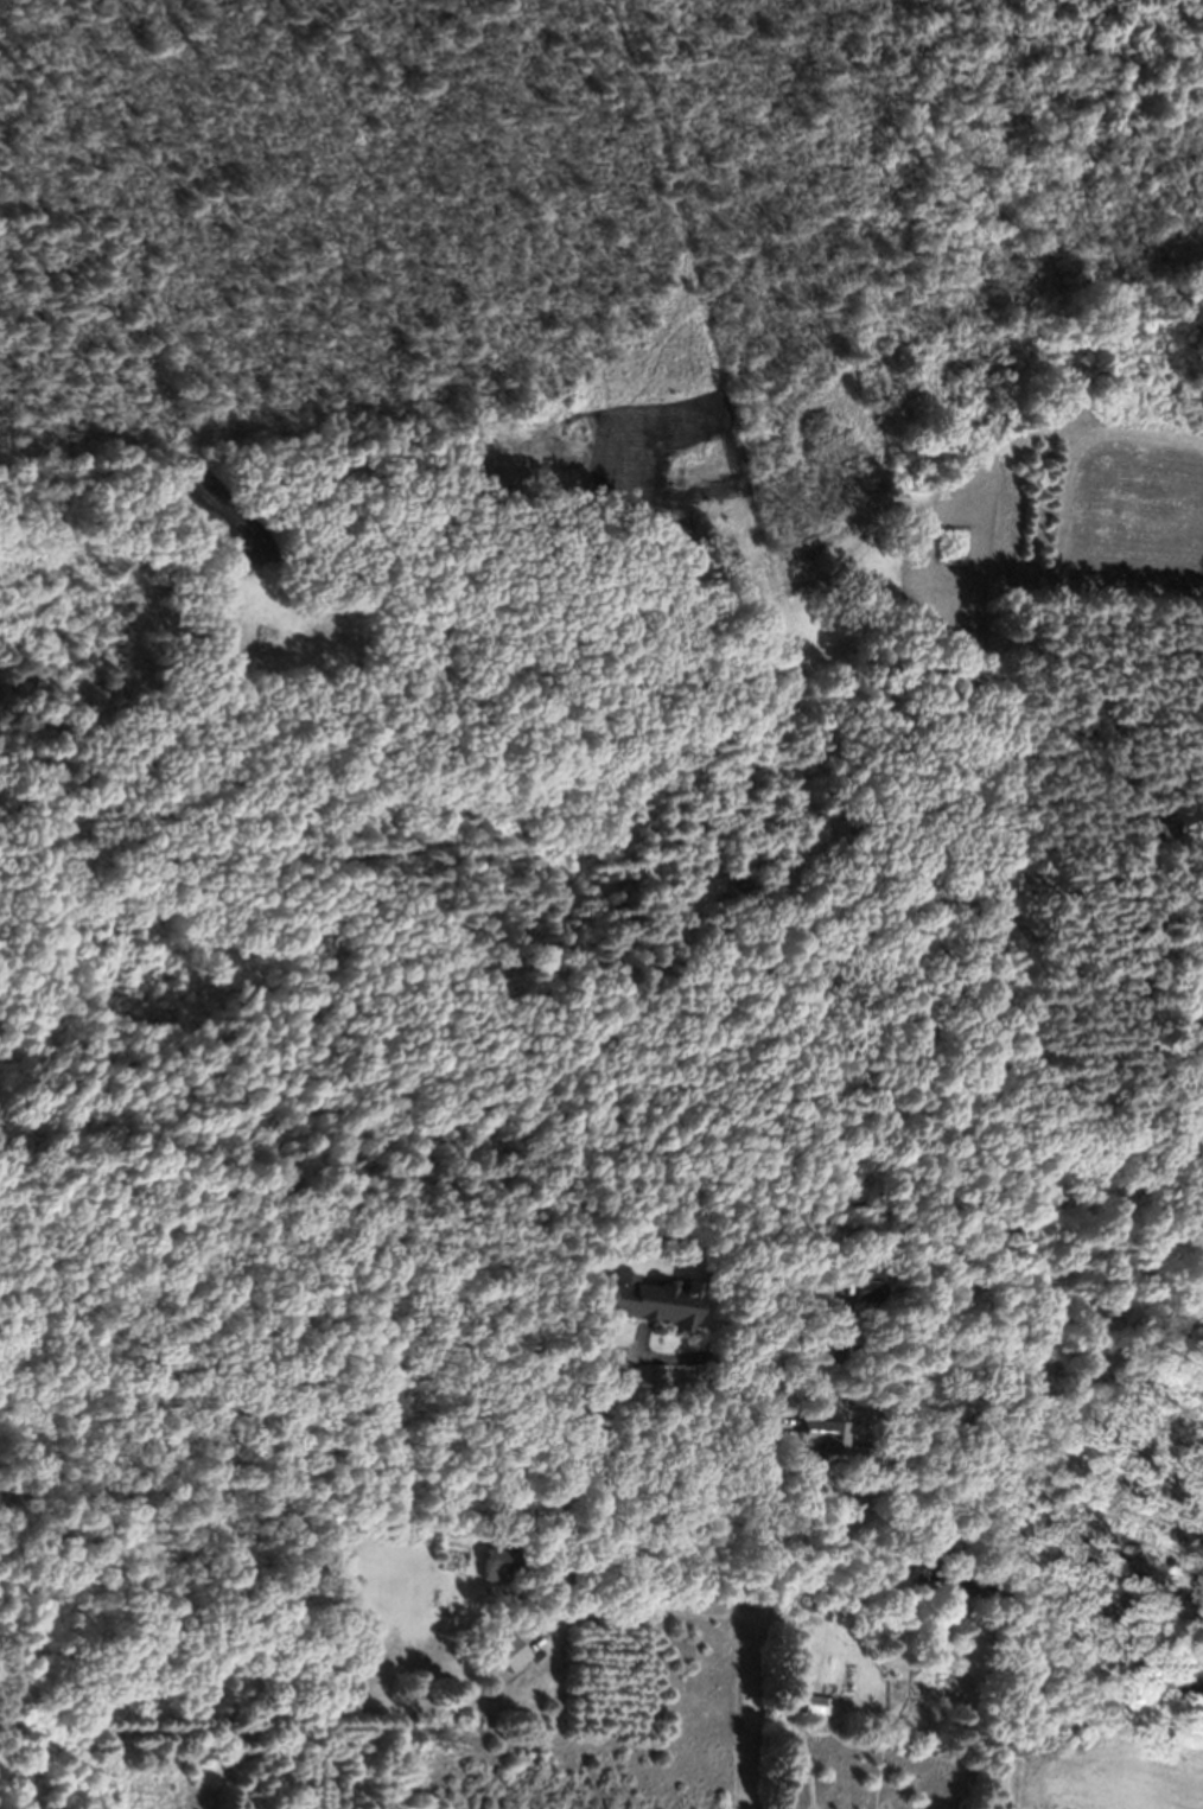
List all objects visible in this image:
building: (647, 1313)
road: (765, 1536)
building: (492, 1574)
building: (507, 1662)
road: (984, 1714)
building: (807, 1716)

